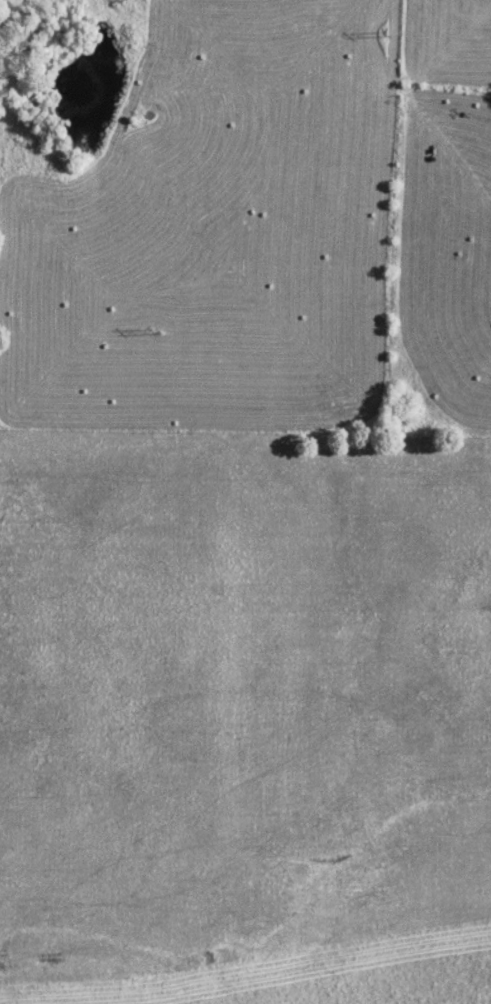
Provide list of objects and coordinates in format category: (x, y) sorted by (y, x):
road: (372, 34)

